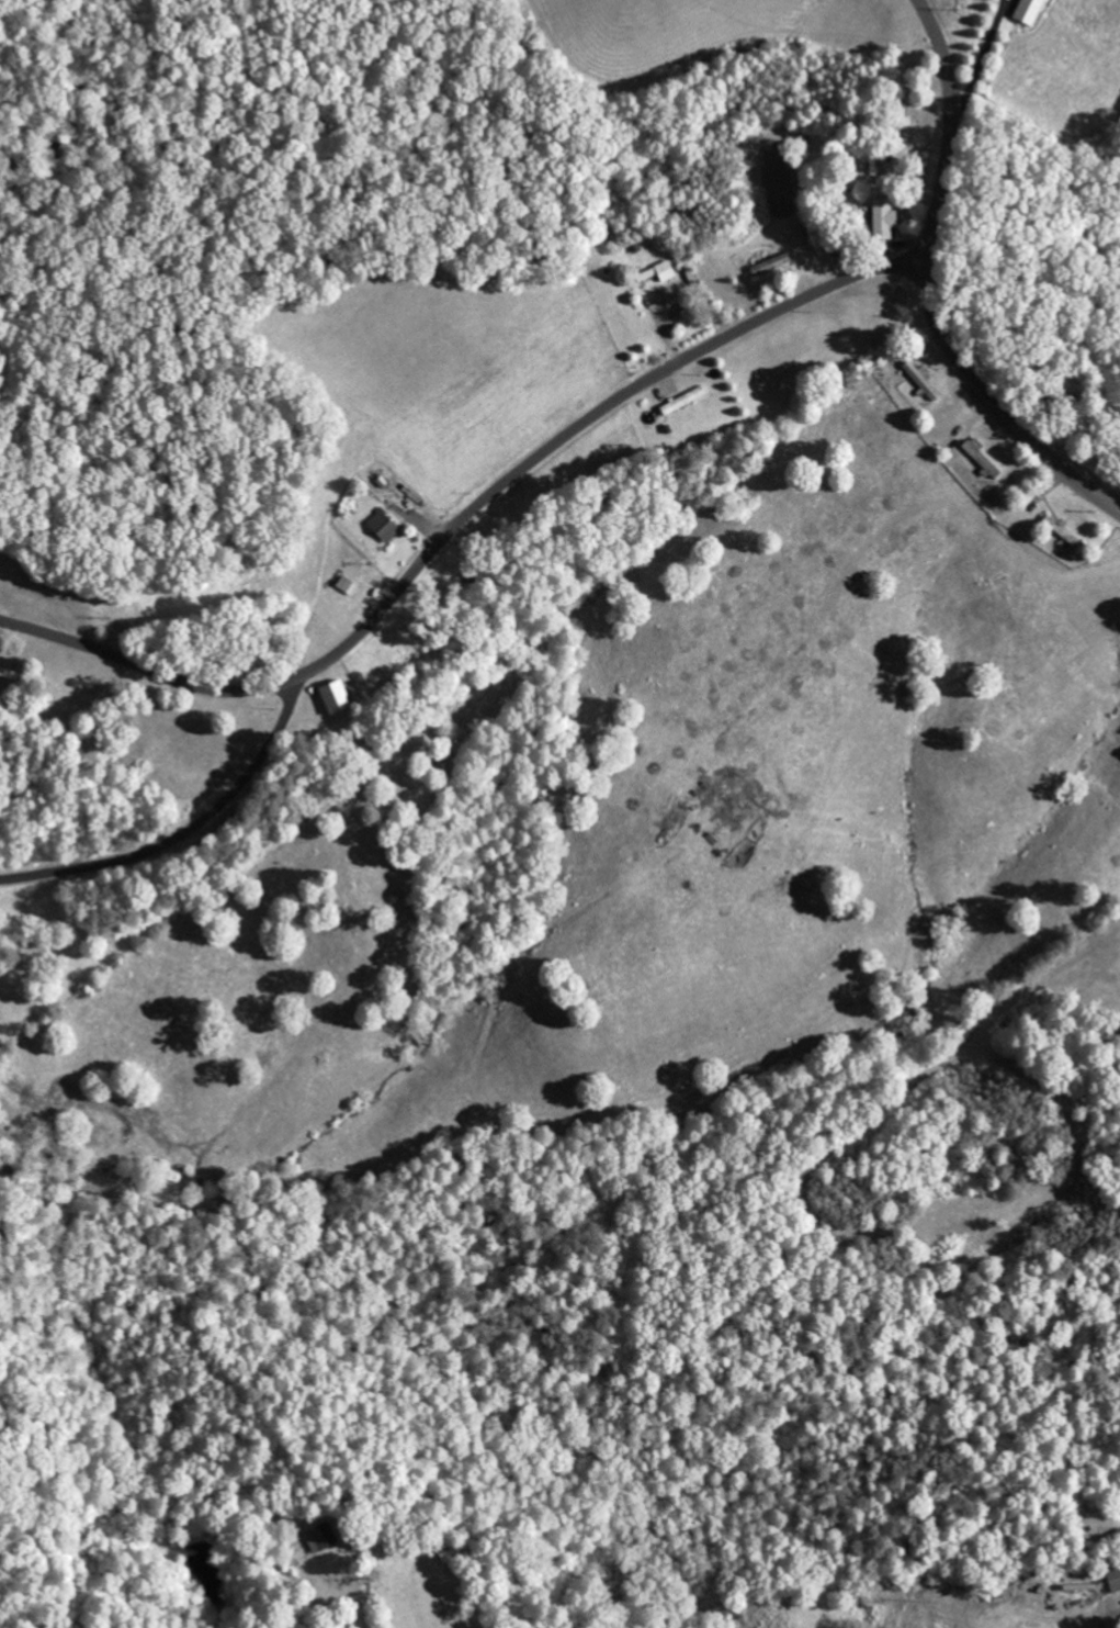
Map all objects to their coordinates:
building: (1027, 11)
building: (881, 218)
building: (664, 270)
road: (931, 290)
building: (920, 380)
building: (681, 401)
building: (980, 458)
road: (462, 520)
building: (382, 527)
building: (1060, 530)
building: (331, 695)
road: (189, 830)
building: (316, 1538)
building: (1112, 1579)

